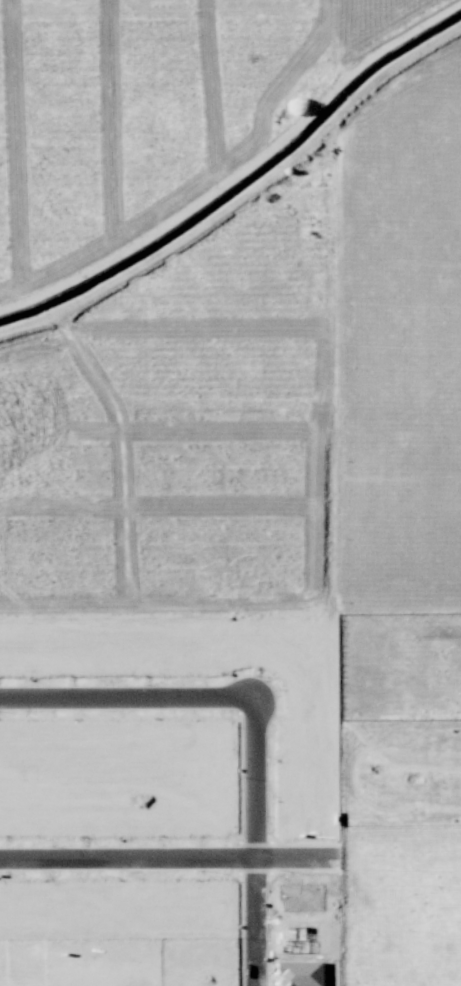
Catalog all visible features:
road: (254, 717)
road: (126, 859)

